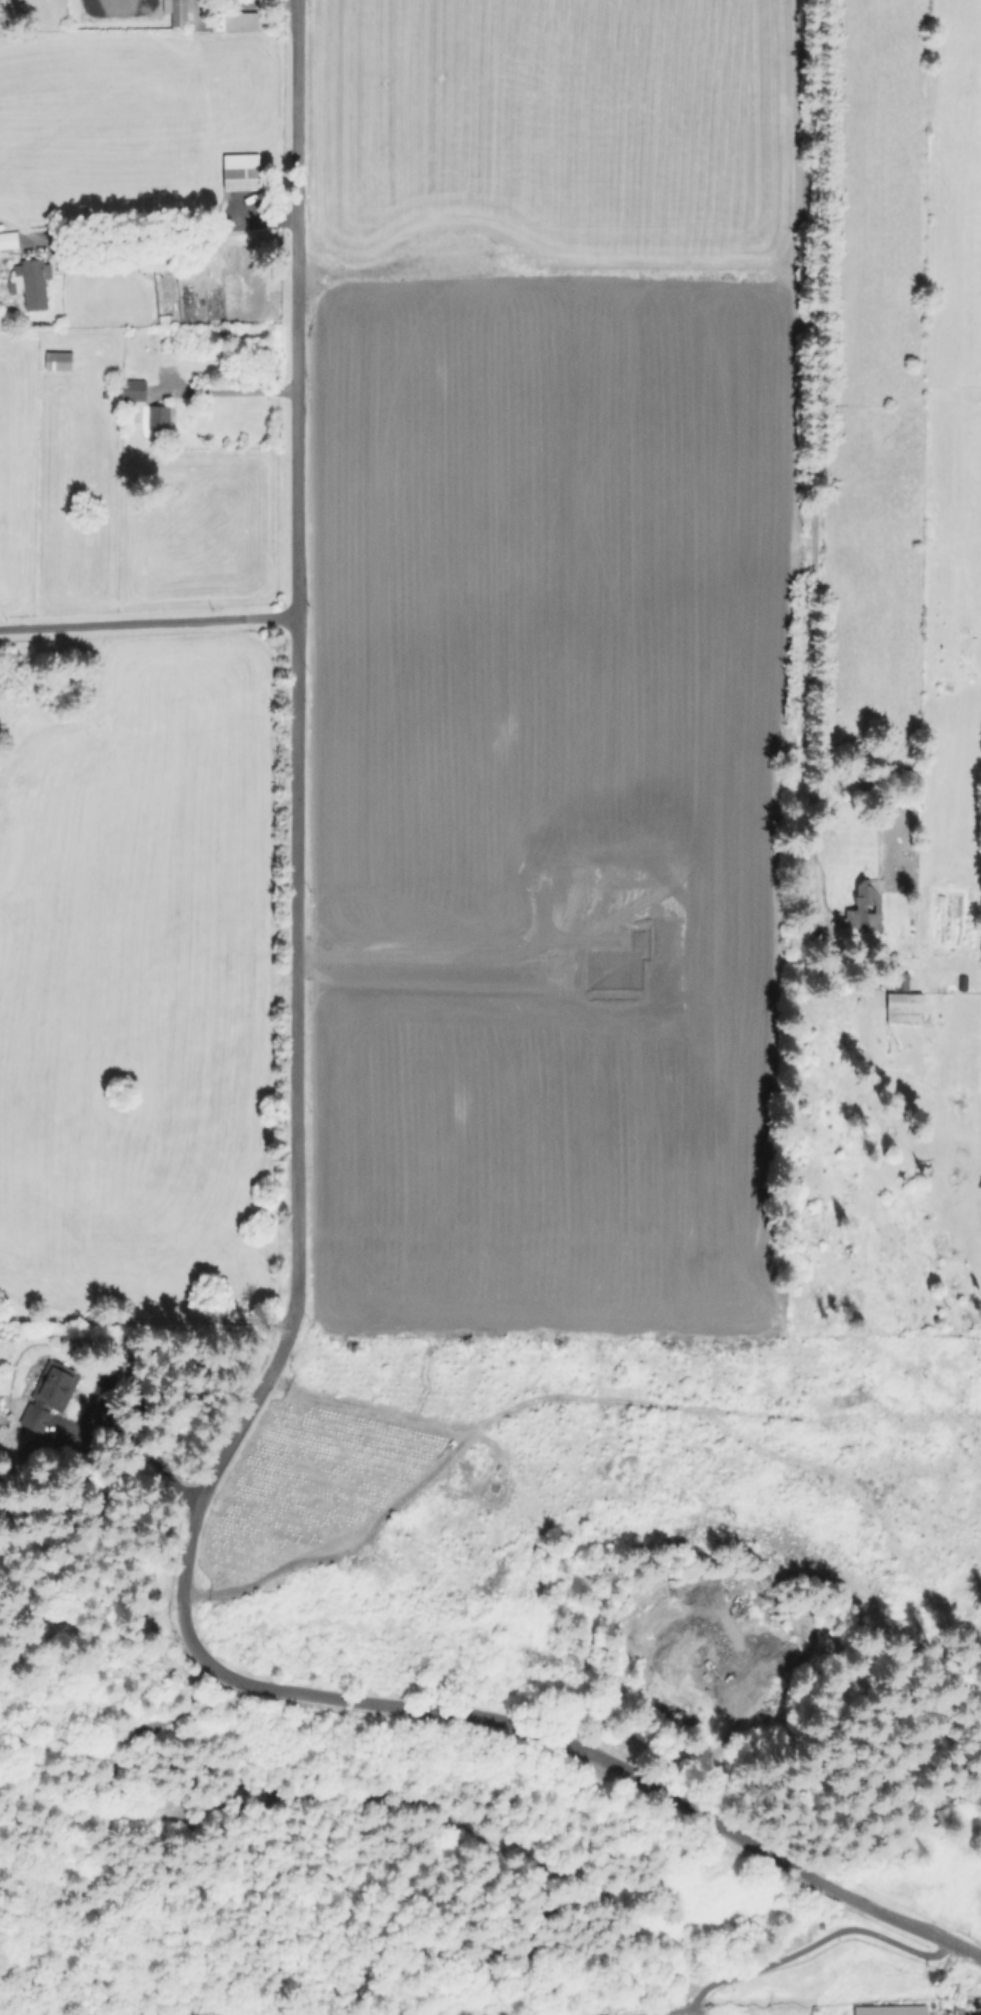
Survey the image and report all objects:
building: (178, 11)
building: (237, 21)
crop: (130, 114)
building: (242, 172)
road: (170, 226)
building: (9, 240)
building: (157, 252)
building: (36, 283)
building: (60, 361)
building: (135, 389)
road: (225, 390)
building: (160, 418)
road: (812, 438)
crop: (129, 528)
road: (148, 618)
crop: (450, 728)
building: (866, 909)
building: (901, 980)
building: (905, 1007)
road: (294, 1266)
building: (51, 1394)
building: (3, 1433)
building: (708, 1865)
road: (812, 1944)
building: (887, 2005)

